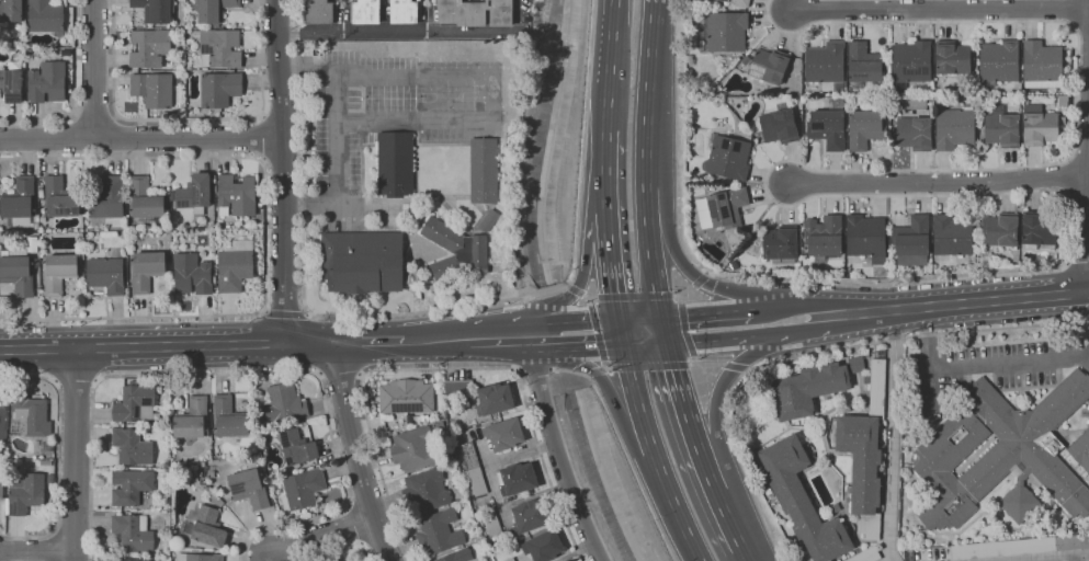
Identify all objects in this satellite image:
building: (738, 2)
road: (939, 9)
building: (154, 10)
building: (213, 10)
building: (11, 11)
building: (365, 11)
building: (405, 11)
building: (321, 12)
building: (475, 12)
building: (46, 16)
road: (410, 32)
building: (723, 32)
building: (149, 48)
building: (219, 48)
building: (952, 58)
building: (746, 60)
building: (999, 62)
building: (910, 64)
building: (826, 65)
building: (863, 65)
building: (1042, 65)
road: (610, 66)
building: (770, 66)
road: (94, 68)
building: (47, 82)
building: (11, 85)
building: (220, 89)
building: (152, 90)
road: (76, 94)
road: (495, 96)
building: (1063, 101)
building: (955, 104)
road: (94, 116)
building: (799, 118)
road: (189, 119)
building: (779, 126)
building: (828, 126)
building: (1041, 126)
building: (865, 128)
building: (955, 128)
building: (1001, 128)
road: (336, 131)
building: (915, 134)
road: (141, 137)
road: (261, 138)
road: (605, 156)
building: (727, 158)
road: (645, 159)
building: (395, 164)
road: (772, 168)
building: (484, 170)
road: (284, 171)
road: (939, 181)
building: (41, 192)
building: (194, 192)
building: (237, 194)
building: (60, 197)
building: (106, 198)
building: (145, 198)
building: (20, 202)
building: (726, 207)
building: (489, 220)
road: (1088, 220)
building: (35, 226)
building: (1000, 230)
building: (1040, 231)
road: (264, 234)
building: (952, 234)
building: (824, 237)
building: (865, 237)
building: (911, 241)
road: (587, 242)
building: (781, 242)
building: (32, 244)
building: (456, 250)
road: (609, 250)
road: (673, 251)
building: (81, 256)
road: (1078, 260)
building: (363, 262)
building: (235, 266)
building: (146, 270)
road: (305, 270)
building: (18, 271)
building: (58, 273)
building: (192, 274)
road: (706, 274)
building: (106, 275)
road: (700, 280)
road: (563, 285)
road: (566, 285)
road: (548, 289)
road: (575, 290)
road: (687, 291)
road: (586, 296)
road: (634, 296)
road: (677, 296)
road: (592, 298)
road: (680, 299)
road: (589, 301)
road: (966, 304)
road: (797, 305)
road: (264, 311)
road: (308, 313)
road: (560, 313)
road: (706, 313)
road: (286, 314)
traffic signals: (662, 318)
road: (639, 319)
traffic signals: (617, 320)
road: (593, 321)
road: (557, 327)
road: (684, 330)
road: (804, 330)
road: (620, 331)
road: (666, 331)
road: (597, 332)
road: (916, 335)
road: (532, 336)
road: (492, 337)
road: (714, 339)
road: (436, 340)
road: (561, 341)
road: (368, 342)
road: (599, 344)
traffic signals: (623, 344)
road: (646, 344)
traffic signals: (669, 344)
road: (167, 346)
road: (569, 351)
road: (695, 360)
road: (604, 365)
road: (706, 365)
building: (855, 365)
road: (978, 365)
road: (649, 366)
road: (735, 367)
road: (340, 368)
road: (444, 368)
road: (534, 368)
road: (608, 368)
road: (519, 369)
road: (552, 369)
road: (746, 370)
road: (570, 371)
road: (594, 371)
road: (249, 373)
road: (319, 373)
road: (360, 374)
road: (585, 376)
road: (75, 383)
building: (167, 387)
building: (458, 387)
road: (718, 389)
building: (806, 389)
building: (406, 397)
building: (494, 399)
road: (683, 400)
building: (285, 402)
building: (135, 403)
road: (615, 407)
building: (30, 416)
building: (440, 416)
building: (2, 417)
building: (228, 417)
building: (193, 419)
building: (439, 425)
building: (503, 435)
road: (892, 435)
building: (46, 446)
building: (133, 447)
building: (297, 447)
building: (416, 448)
road: (556, 451)
building: (865, 451)
road: (356, 454)
building: (1005, 454)
road: (76, 455)
road: (654, 455)
road: (59, 457)
building: (469, 467)
road: (706, 474)
building: (517, 479)
building: (1087, 480)
building: (131, 486)
building: (1, 488)
building: (30, 489)
building: (250, 489)
building: (302, 489)
building: (426, 490)
building: (802, 501)
building: (833, 508)
building: (529, 516)
road: (727, 519)
building: (490, 522)
building: (206, 528)
building: (133, 533)
building: (438, 533)
road: (319, 536)
building: (543, 546)
building: (1020, 547)
road: (341, 549)
road: (37, 550)
road: (745, 553)
building: (866, 554)
building: (908, 554)
building: (457, 556)
building: (200, 557)
road: (1062, 558)
building: (135, 559)
building: (510, 559)
road: (1079, 559)
building: (345, 560)

